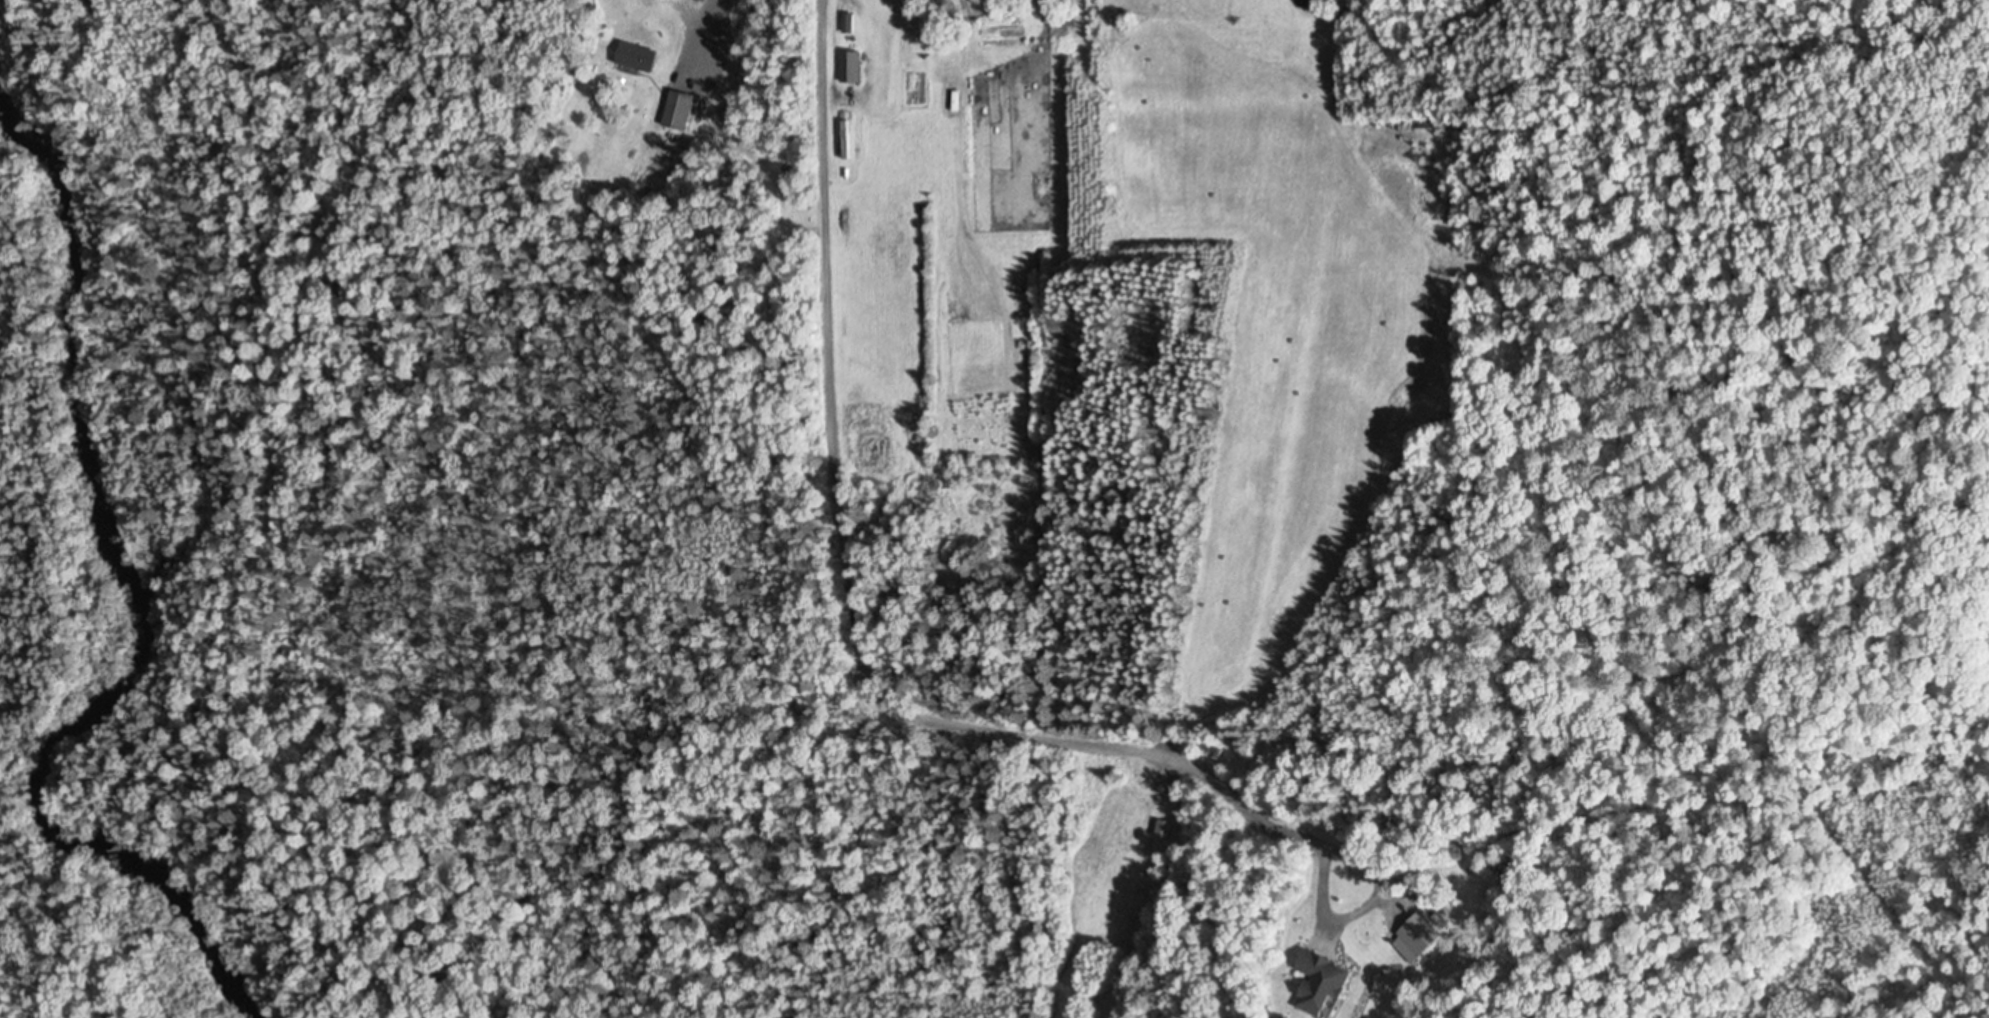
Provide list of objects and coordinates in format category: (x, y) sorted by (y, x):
building: (847, 22)
road: (716, 24)
building: (638, 55)
building: (850, 65)
building: (679, 108)
building: (1426, 119)
road: (850, 590)
river: (144, 601)
building: (1163, 828)
road: (1361, 916)
building: (1418, 935)
building: (1318, 982)

